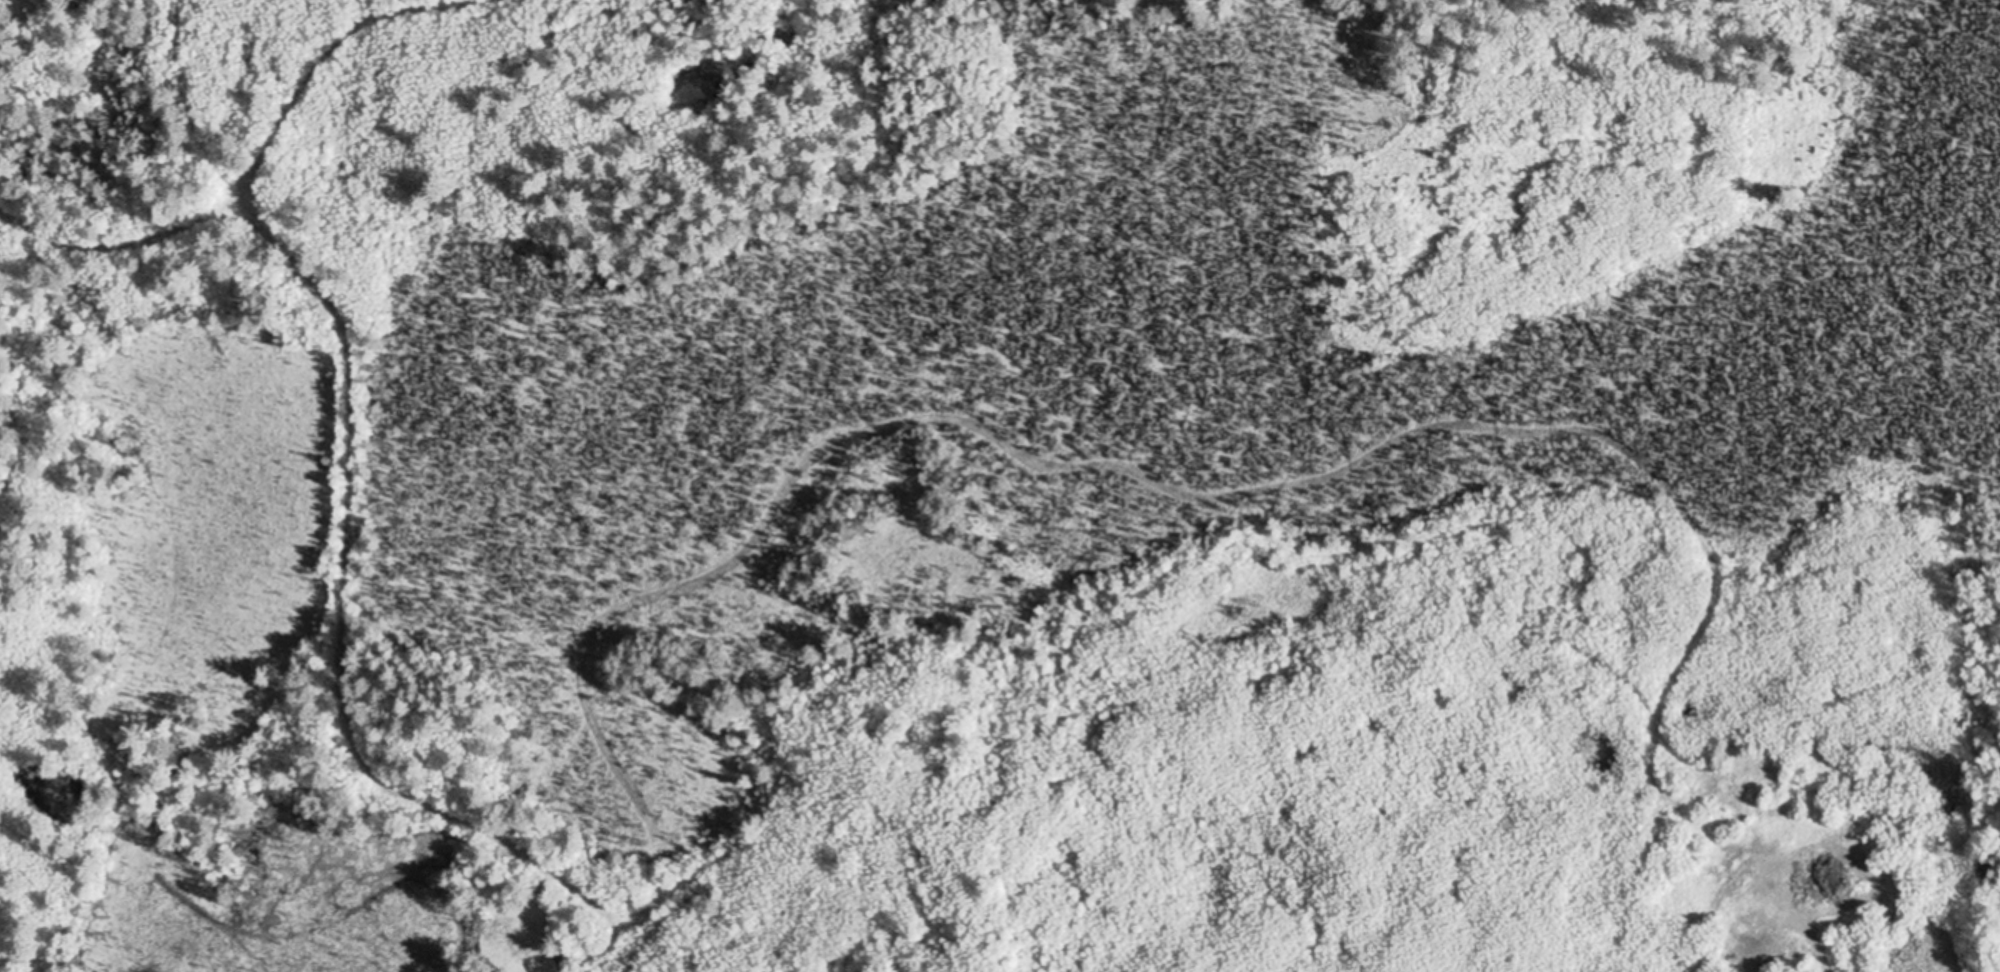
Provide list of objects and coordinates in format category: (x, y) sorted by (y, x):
road: (1767, 874)

